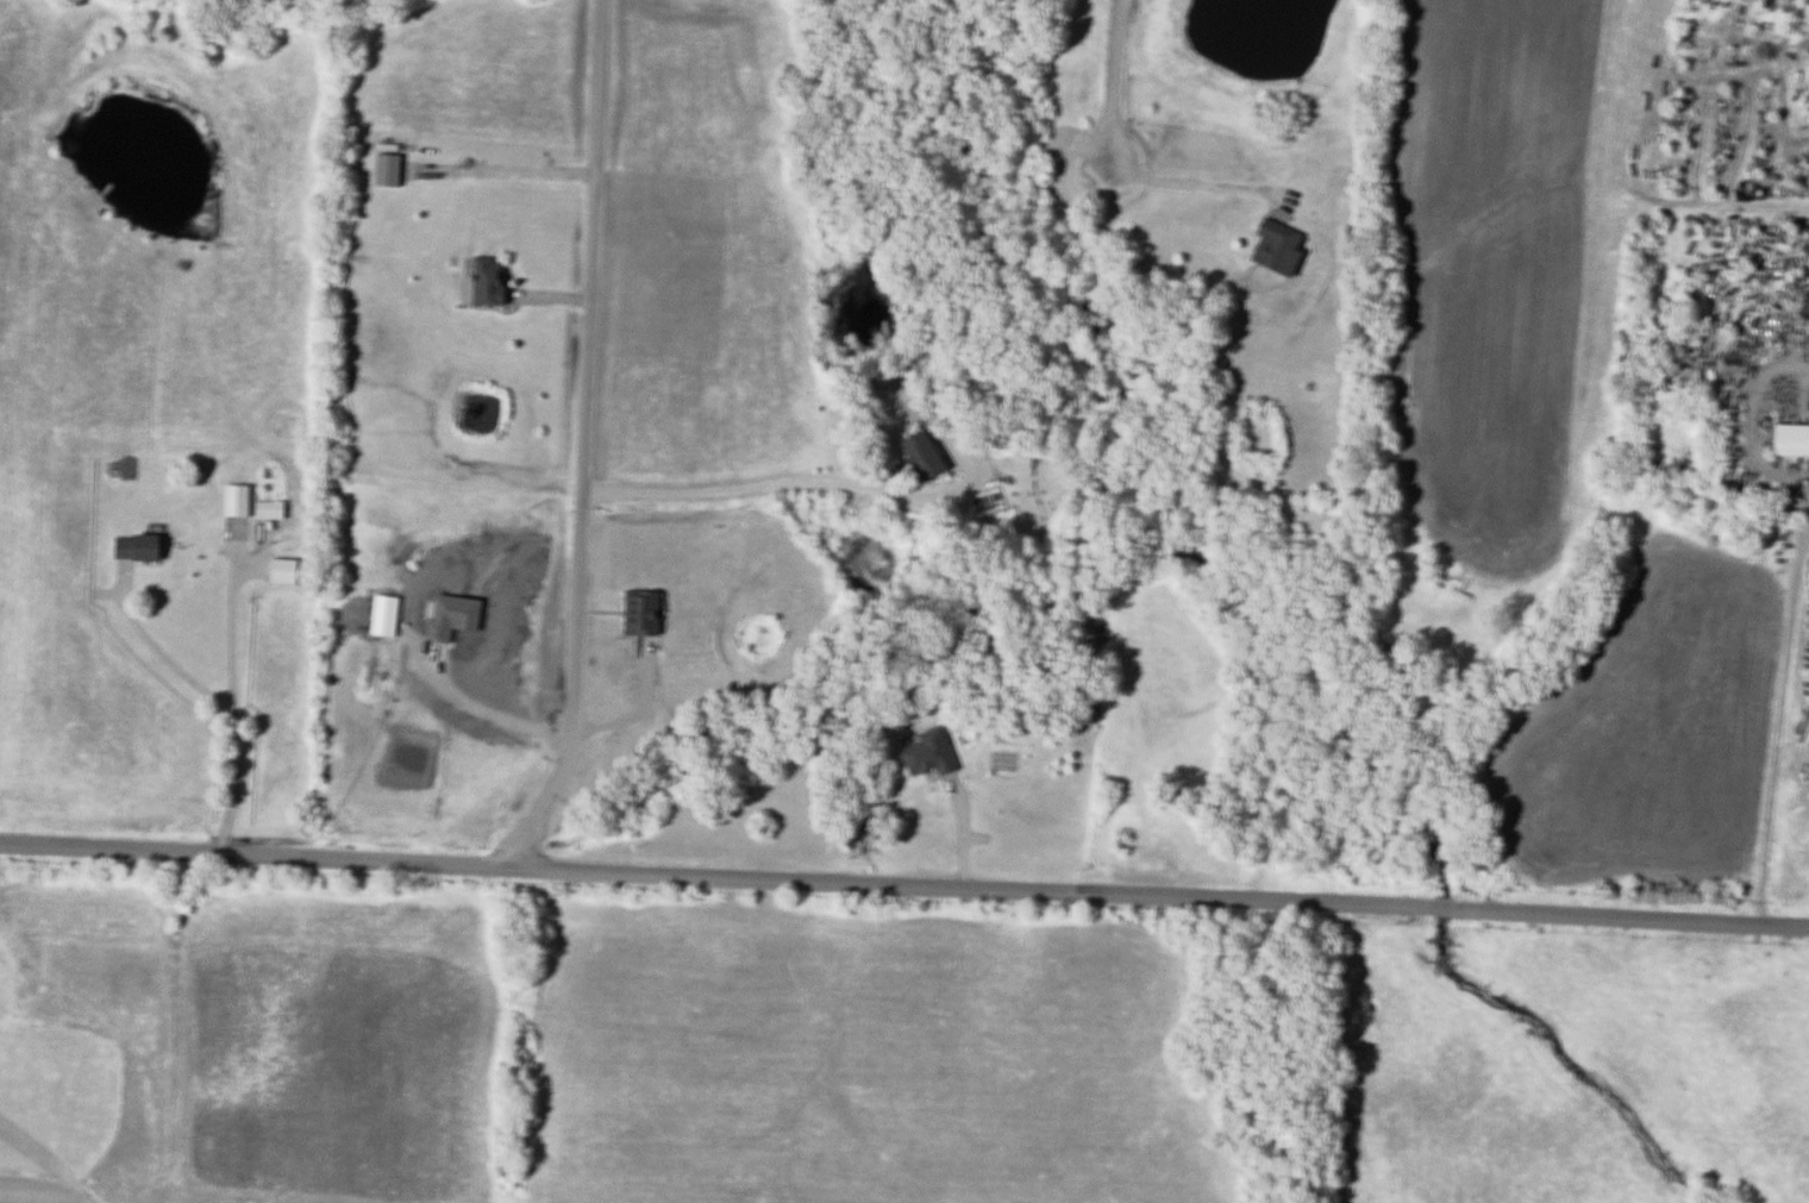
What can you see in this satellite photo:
building: (740, 0)
road: (1114, 84)
road: (1202, 188)
building: (1279, 249)
crop: (1488, 269)
building: (489, 282)
road: (1754, 426)
building: (1794, 443)
road: (586, 444)
road: (764, 484)
building: (238, 503)
building: (270, 513)
building: (142, 550)
building: (286, 574)
building: (644, 615)
building: (1392, 653)
road: (215, 702)
road: (637, 708)
road: (1778, 731)
building: (931, 757)
road: (1490, 812)
road: (903, 886)

